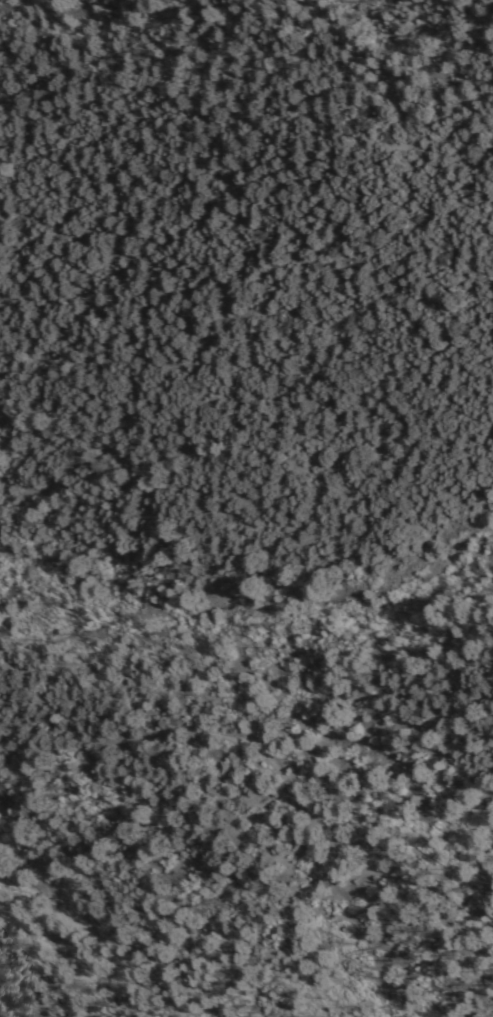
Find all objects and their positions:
road: (255, 748)

